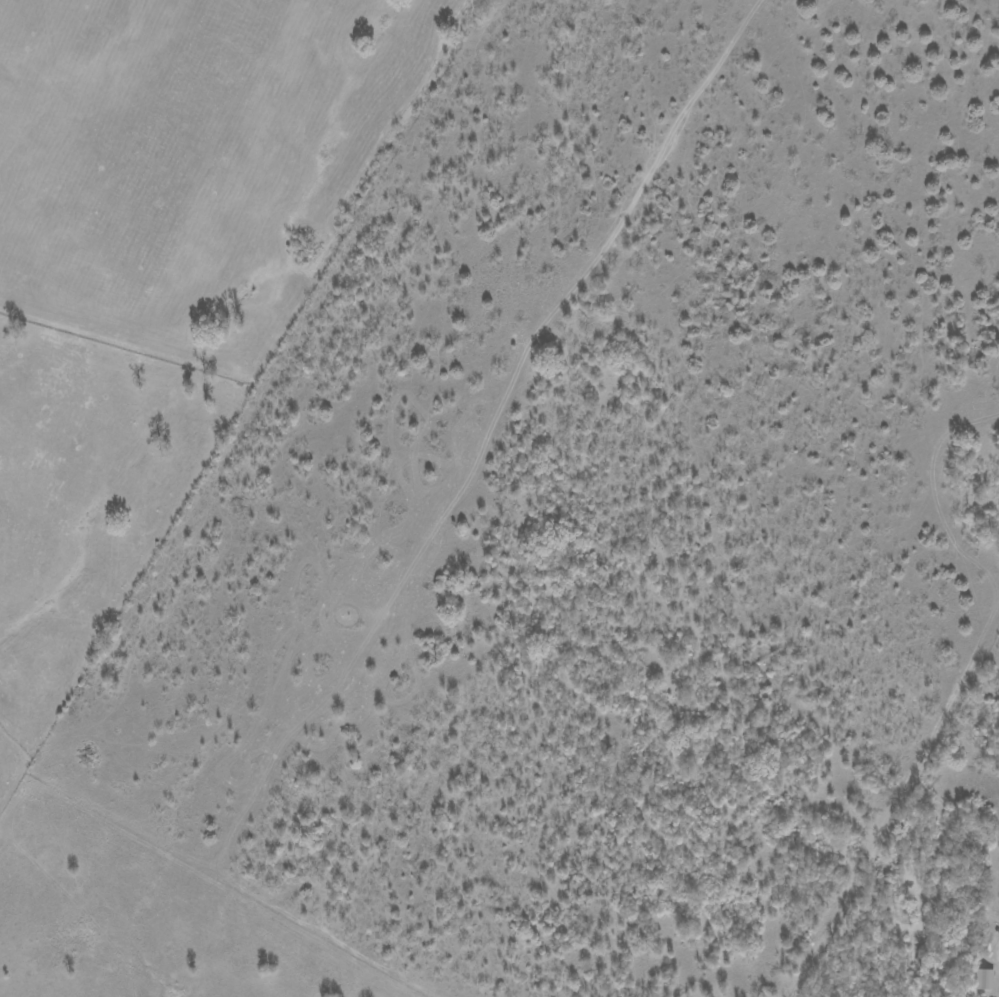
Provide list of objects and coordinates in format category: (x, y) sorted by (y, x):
road: (457, 499)
building: (983, 979)

